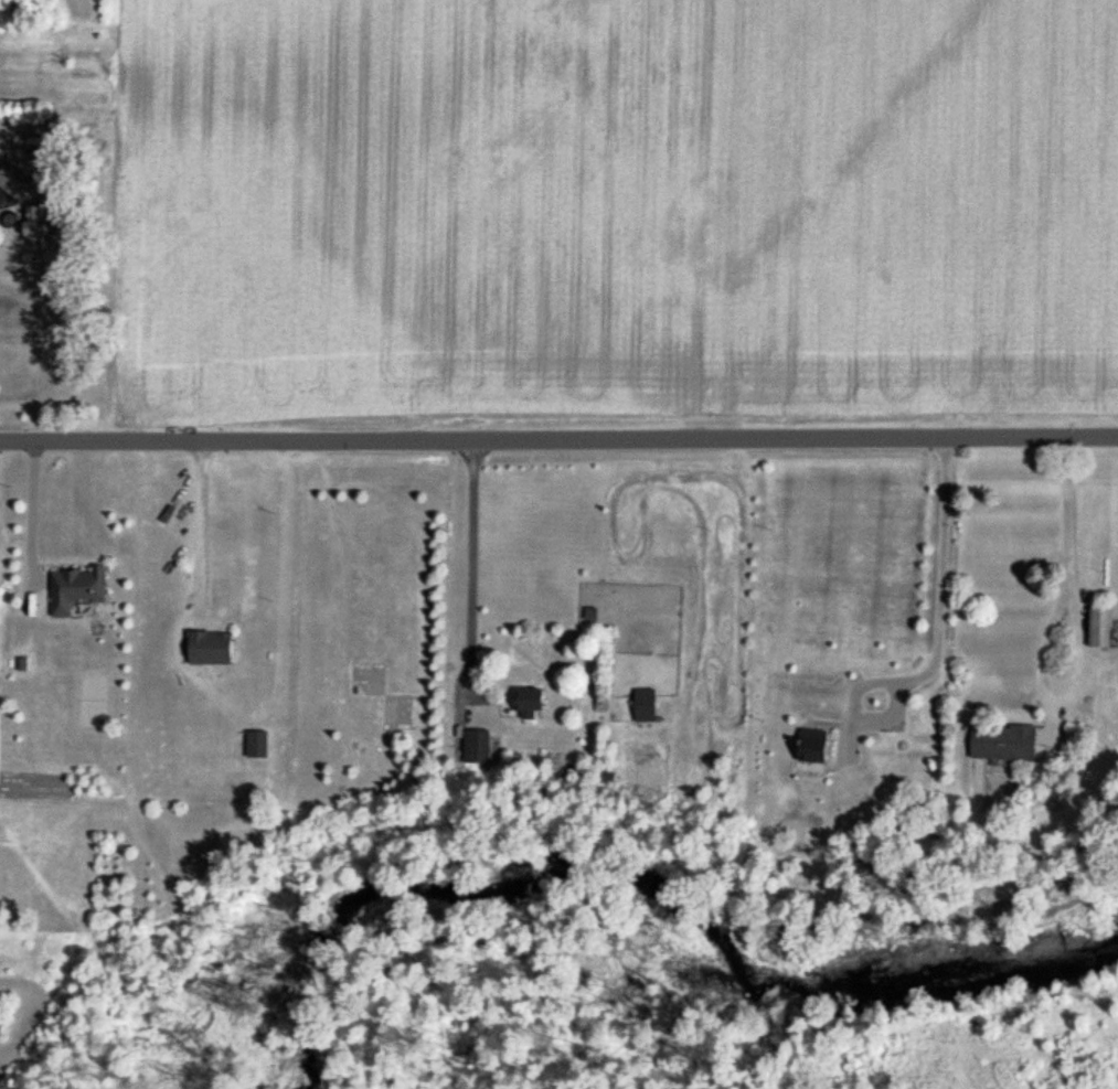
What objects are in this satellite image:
building: (15, 181)
building: (39, 227)
road: (558, 435)
road: (33, 510)
building: (0, 522)
road: (202, 530)
road: (473, 570)
building: (76, 589)
building: (1101, 628)
building: (210, 649)
building: (531, 704)
building: (646, 706)
building: (1005, 744)
building: (257, 745)
building: (478, 749)
river: (656, 884)

